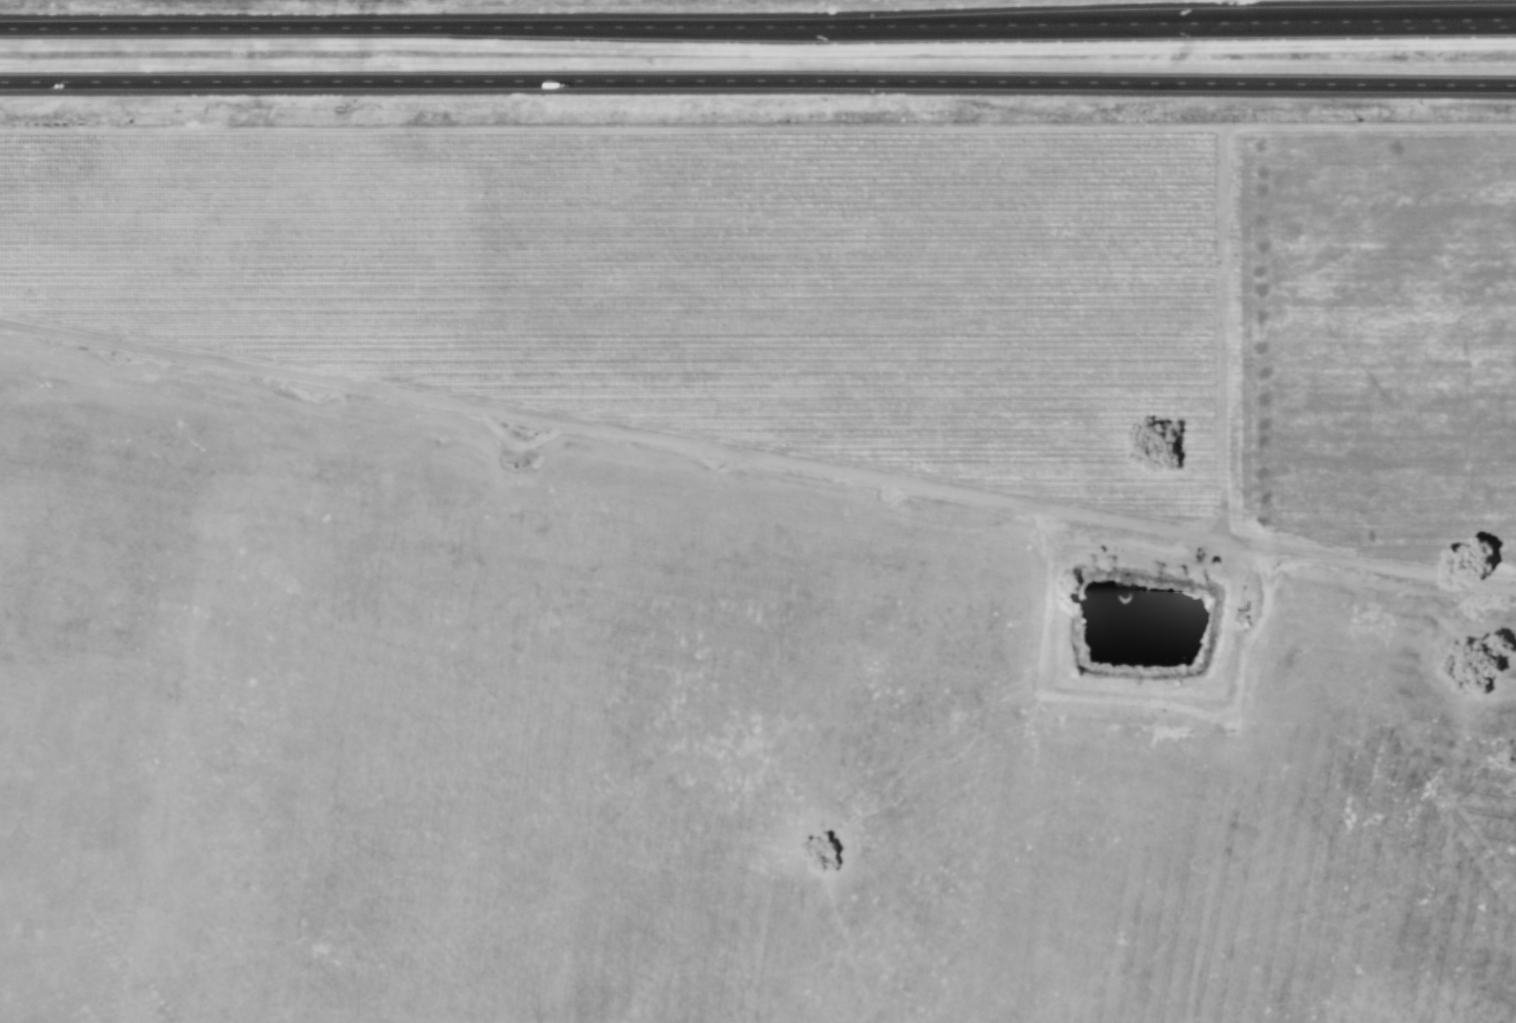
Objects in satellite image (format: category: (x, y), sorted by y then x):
road: (757, 35)
road: (758, 83)
road: (757, 453)
crop: (676, 753)

